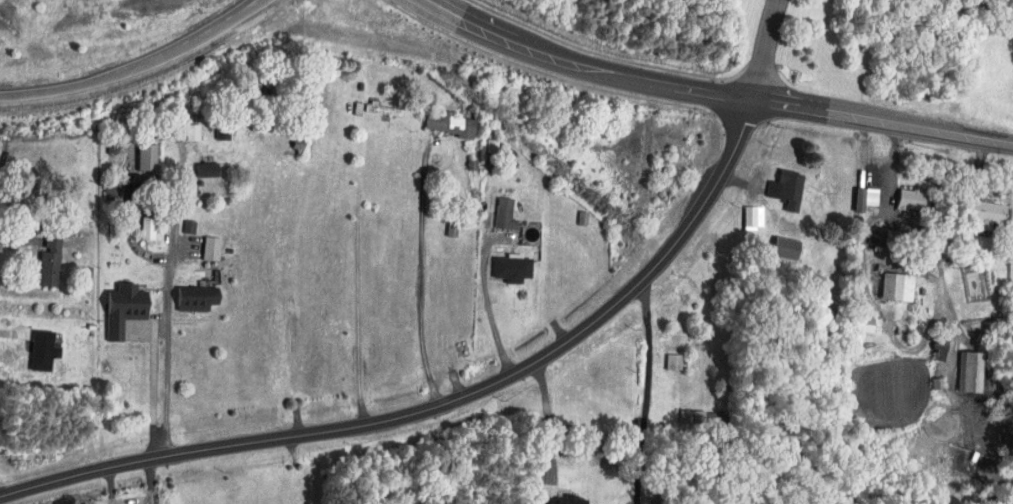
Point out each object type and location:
road: (763, 49)
road: (543, 50)
road: (137, 65)
building: (372, 107)
road: (838, 113)
building: (444, 123)
building: (189, 131)
building: (219, 132)
building: (143, 156)
building: (202, 169)
building: (782, 188)
building: (501, 213)
building: (980, 213)
building: (748, 216)
building: (185, 226)
building: (145, 228)
building: (206, 248)
building: (782, 248)
building: (45, 262)
building: (507, 267)
road: (358, 273)
road: (419, 277)
building: (892, 286)
road: (869, 294)
building: (192, 299)
building: (118, 308)
building: (858, 324)
road: (495, 327)
building: (933, 345)
building: (38, 350)
road: (168, 359)
building: (670, 361)
building: (964, 372)
road: (647, 390)
road: (153, 400)
road: (441, 405)
building: (693, 416)
road: (548, 419)
building: (556, 499)

